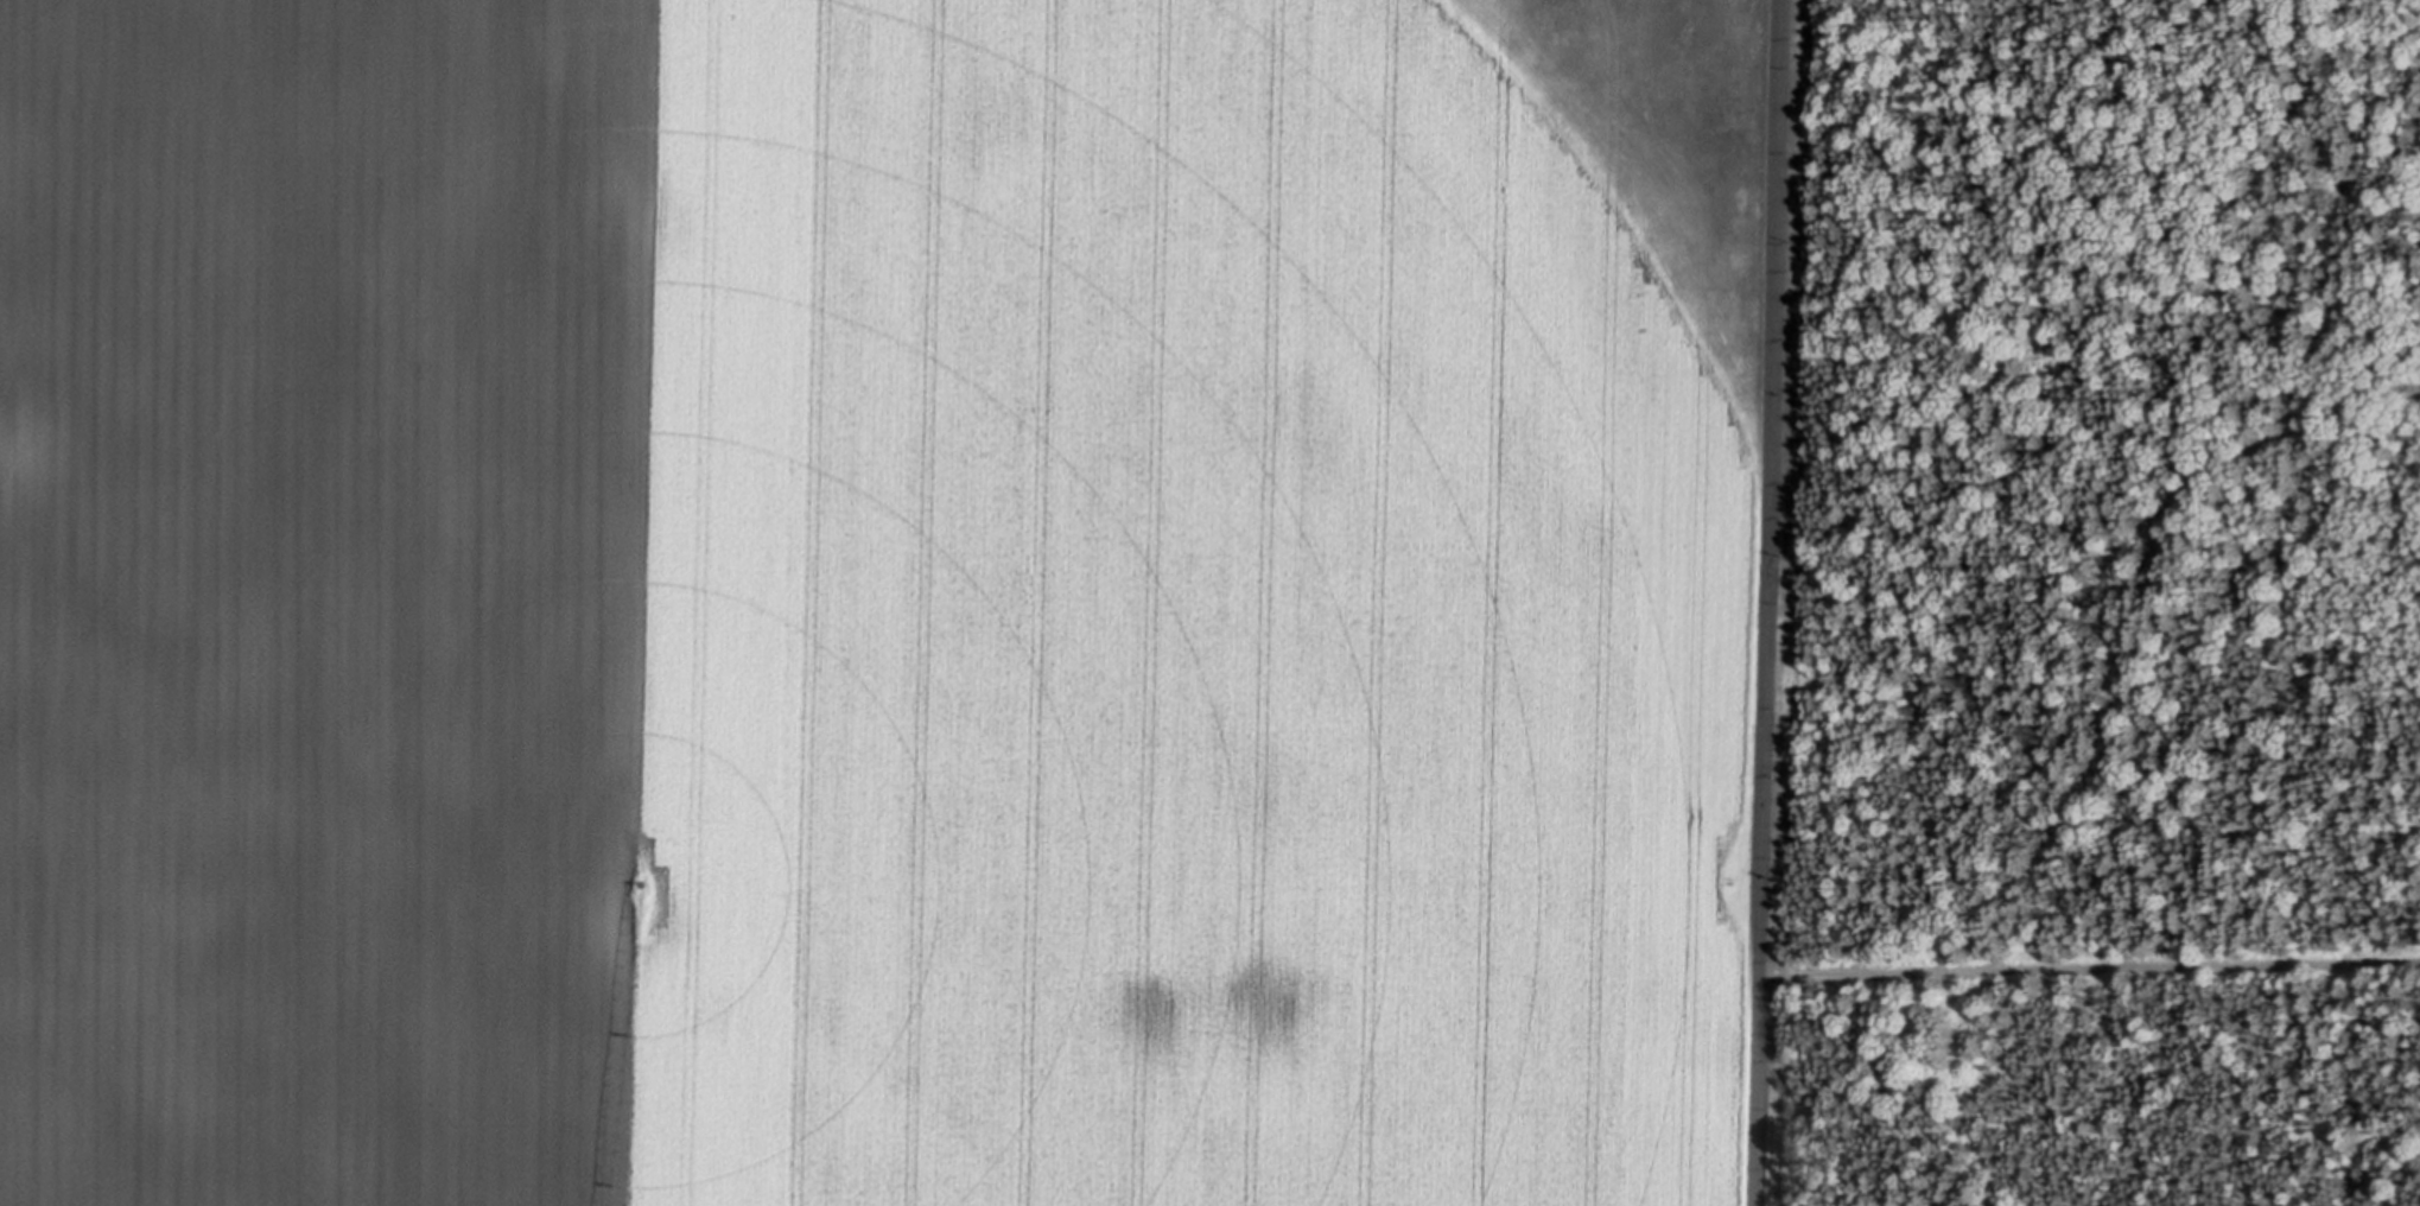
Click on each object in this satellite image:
crop: (879, 601)
road: (1766, 603)
road: (1798, 603)
road: (2101, 966)

